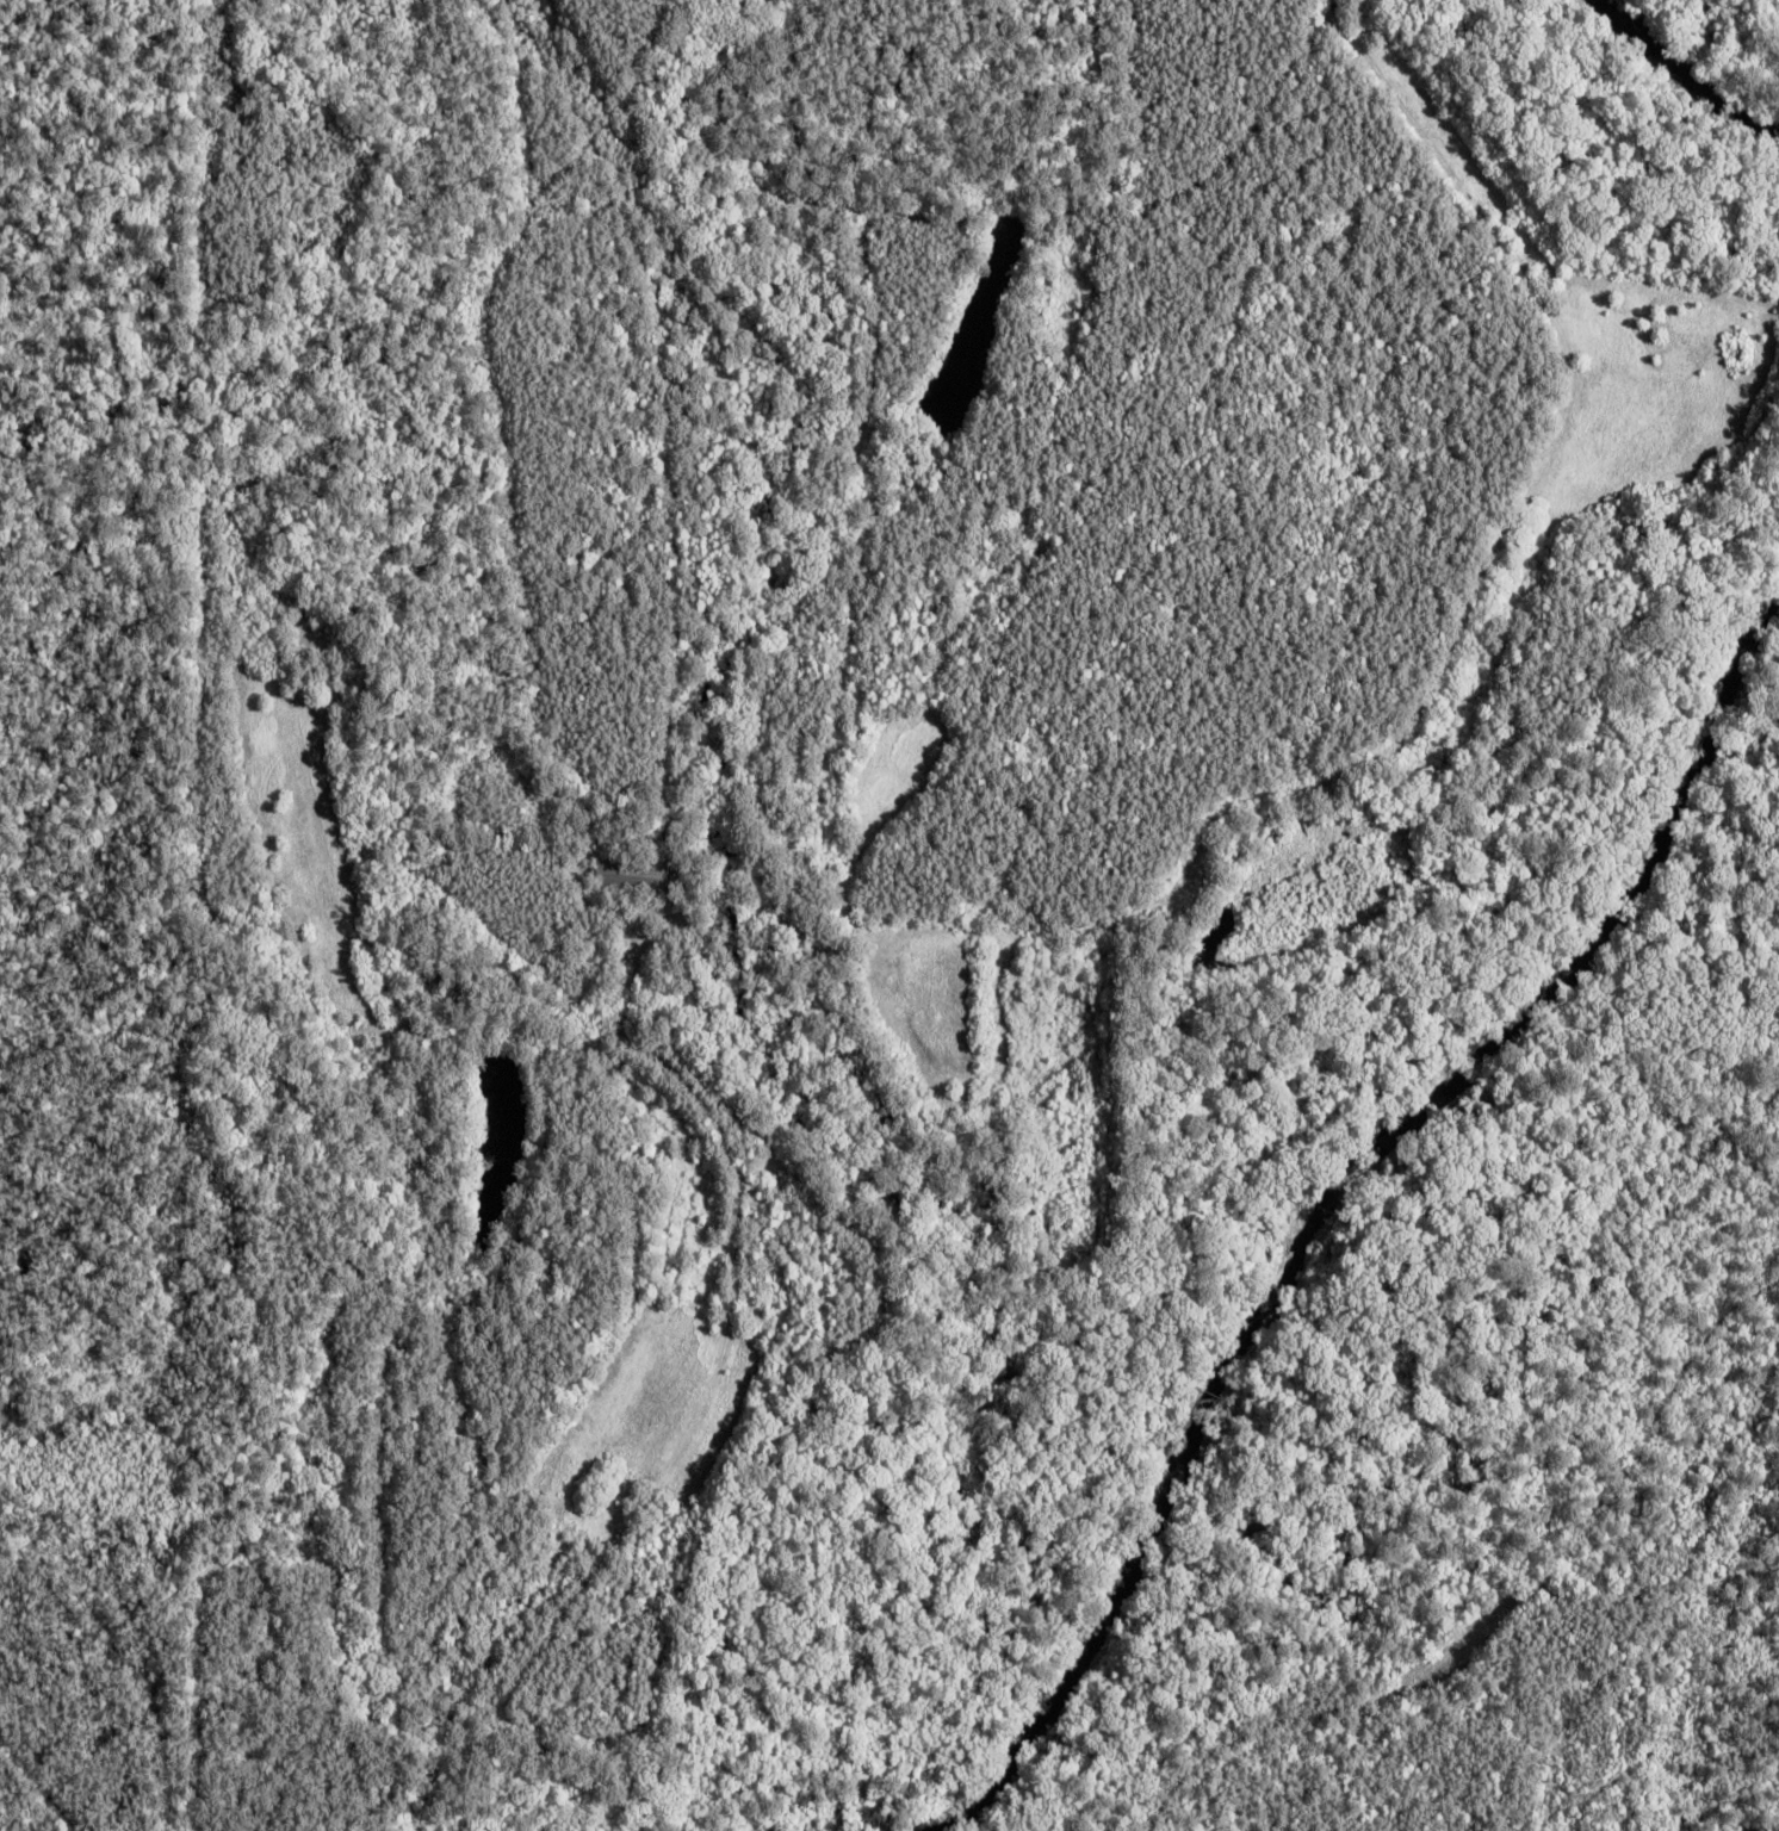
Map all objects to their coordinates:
river: (1685, 73)
building: (634, 877)
road: (1027, 925)
river: (1333, 1205)

